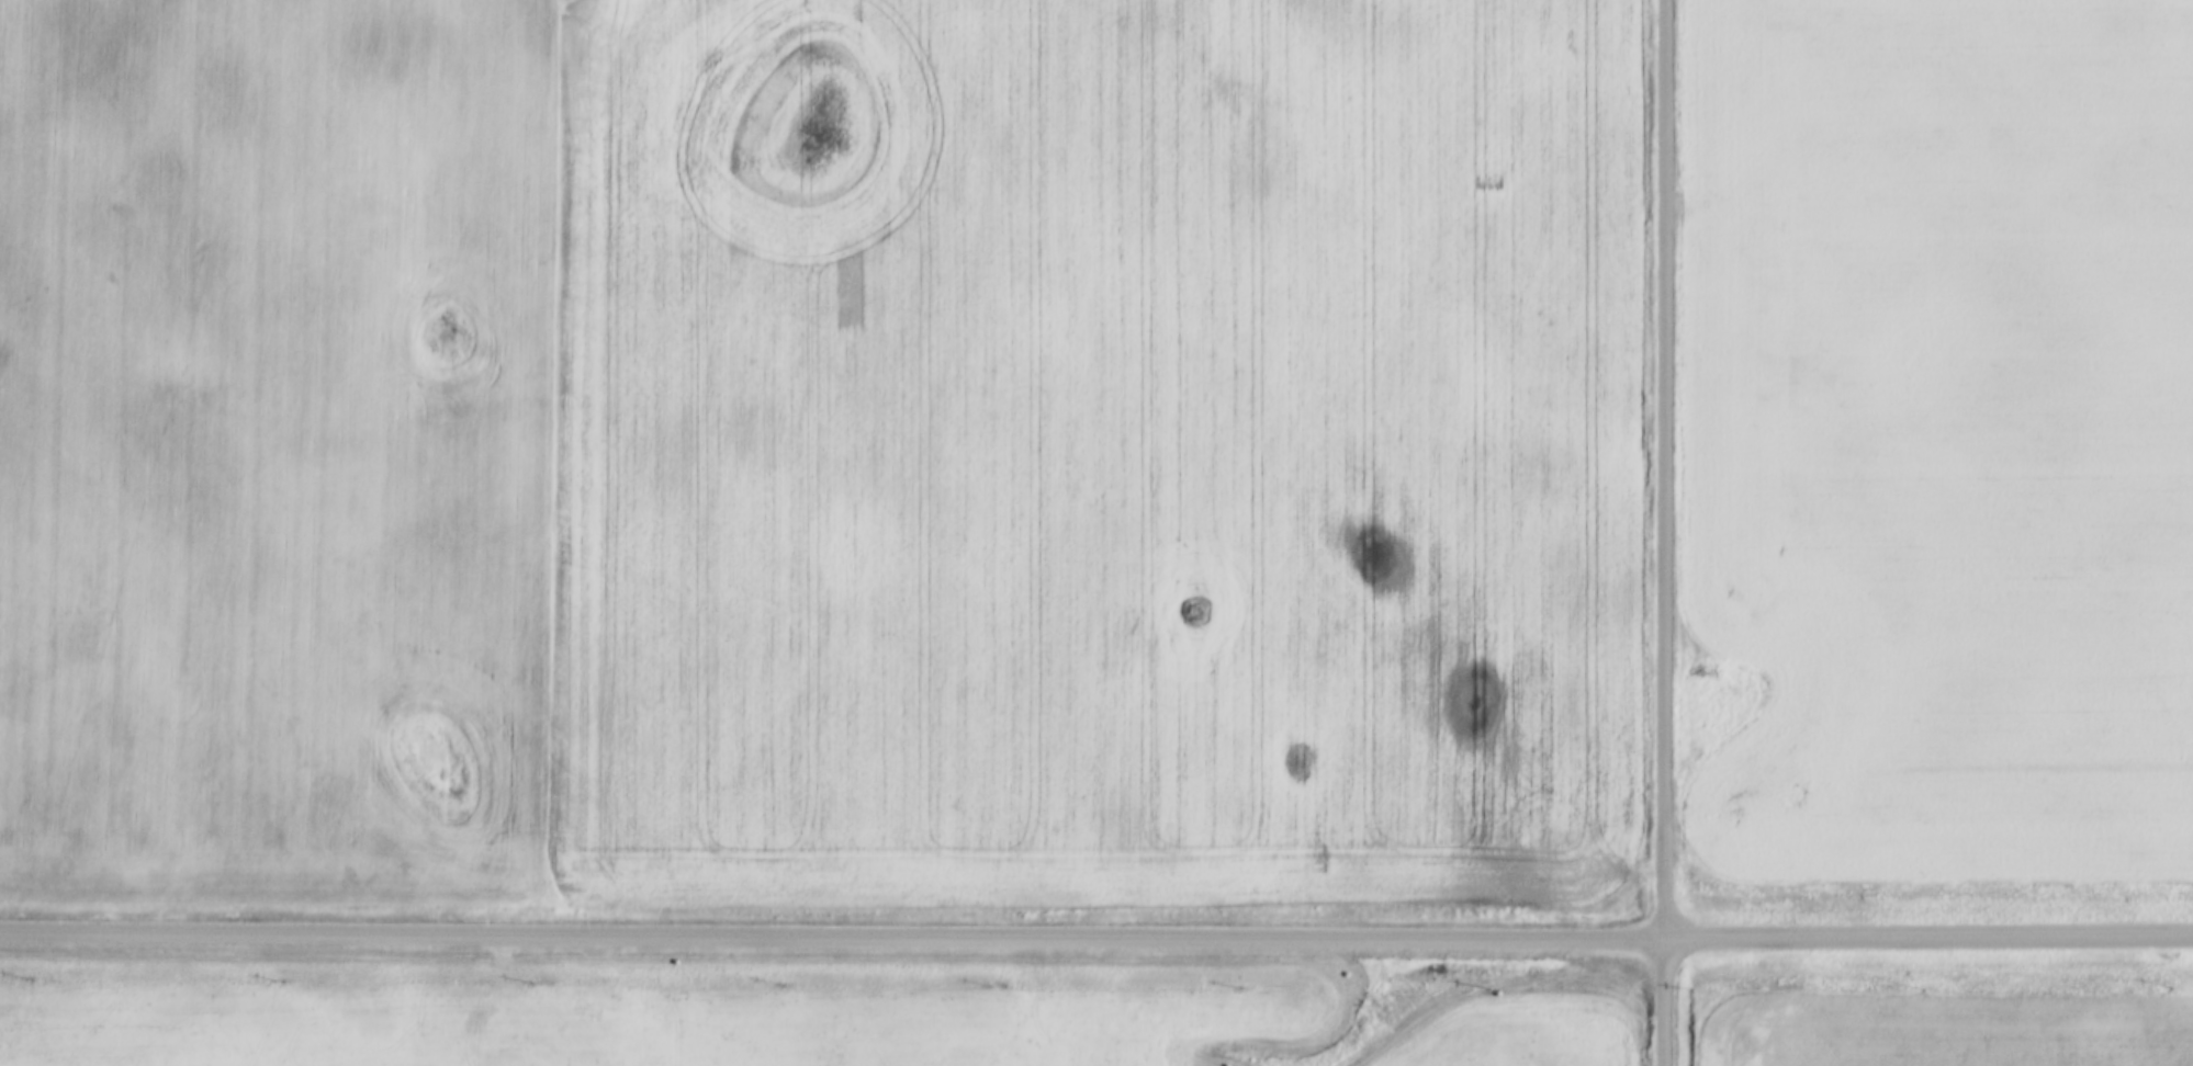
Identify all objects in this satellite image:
road: (1667, 533)
road: (833, 933)
road: (1928, 933)

